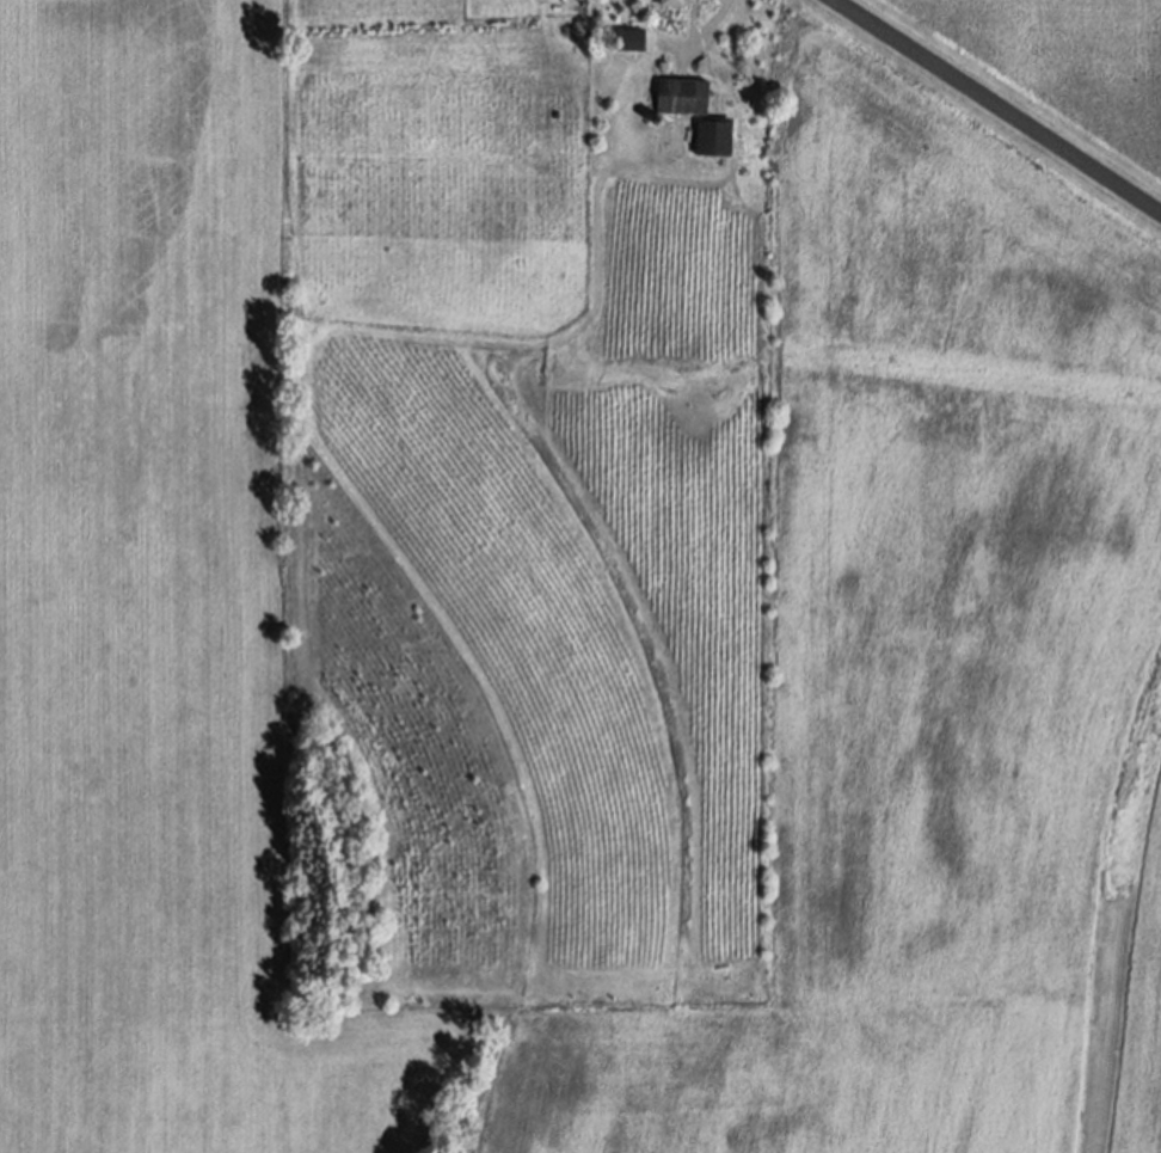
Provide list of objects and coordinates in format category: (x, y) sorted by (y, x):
building: (671, 2)
building: (627, 41)
building: (682, 96)
road: (997, 104)
building: (711, 139)
airport runway: (1049, 1093)

